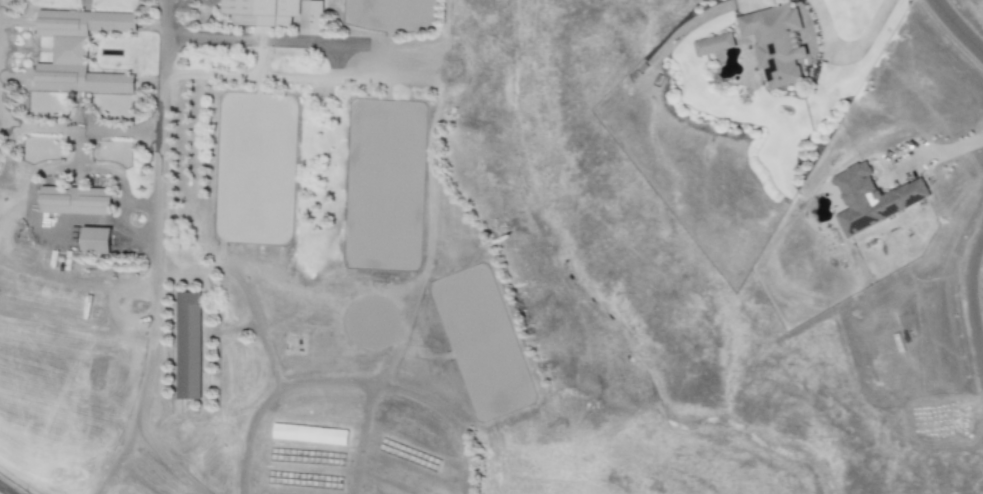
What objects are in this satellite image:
road: (84, 1)
building: (277, 13)
road: (957, 28)
road: (263, 41)
building: (713, 44)
building: (777, 44)
building: (79, 51)
road: (848, 54)
road: (159, 131)
road: (938, 153)
building: (872, 198)
building: (76, 200)
building: (96, 240)
road: (242, 288)
road: (971, 301)
building: (188, 345)
road: (249, 433)
building: (309, 434)
road: (362, 441)
building: (409, 455)
building: (307, 457)
building: (305, 480)
road: (4, 490)

